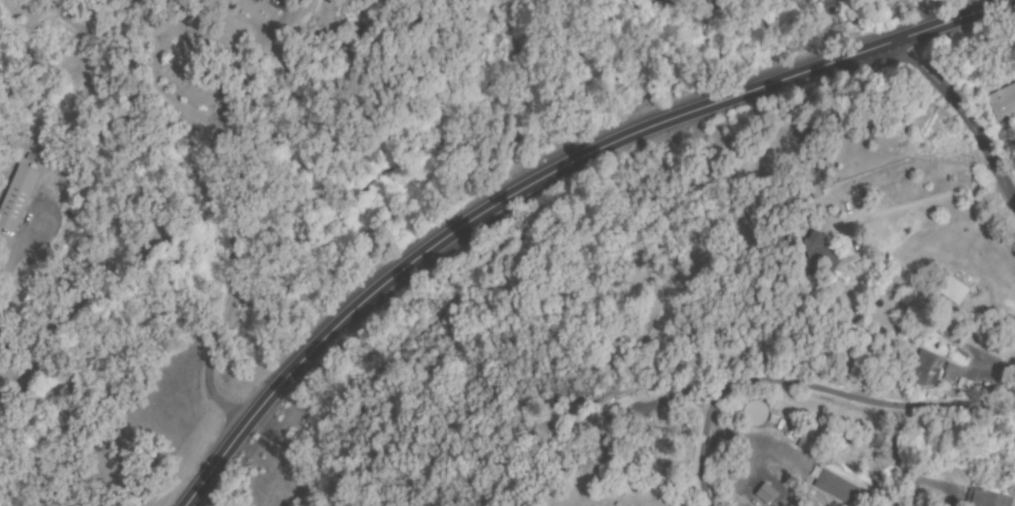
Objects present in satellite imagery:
building: (722, 1)
building: (657, 2)
road: (898, 18)
building: (1003, 102)
road: (965, 116)
building: (871, 132)
road: (547, 173)
building: (17, 198)
building: (822, 253)
road: (43, 267)
building: (953, 291)
road: (396, 329)
building: (924, 368)
building: (954, 371)
road: (809, 391)
building: (837, 488)
building: (763, 492)
building: (986, 499)

